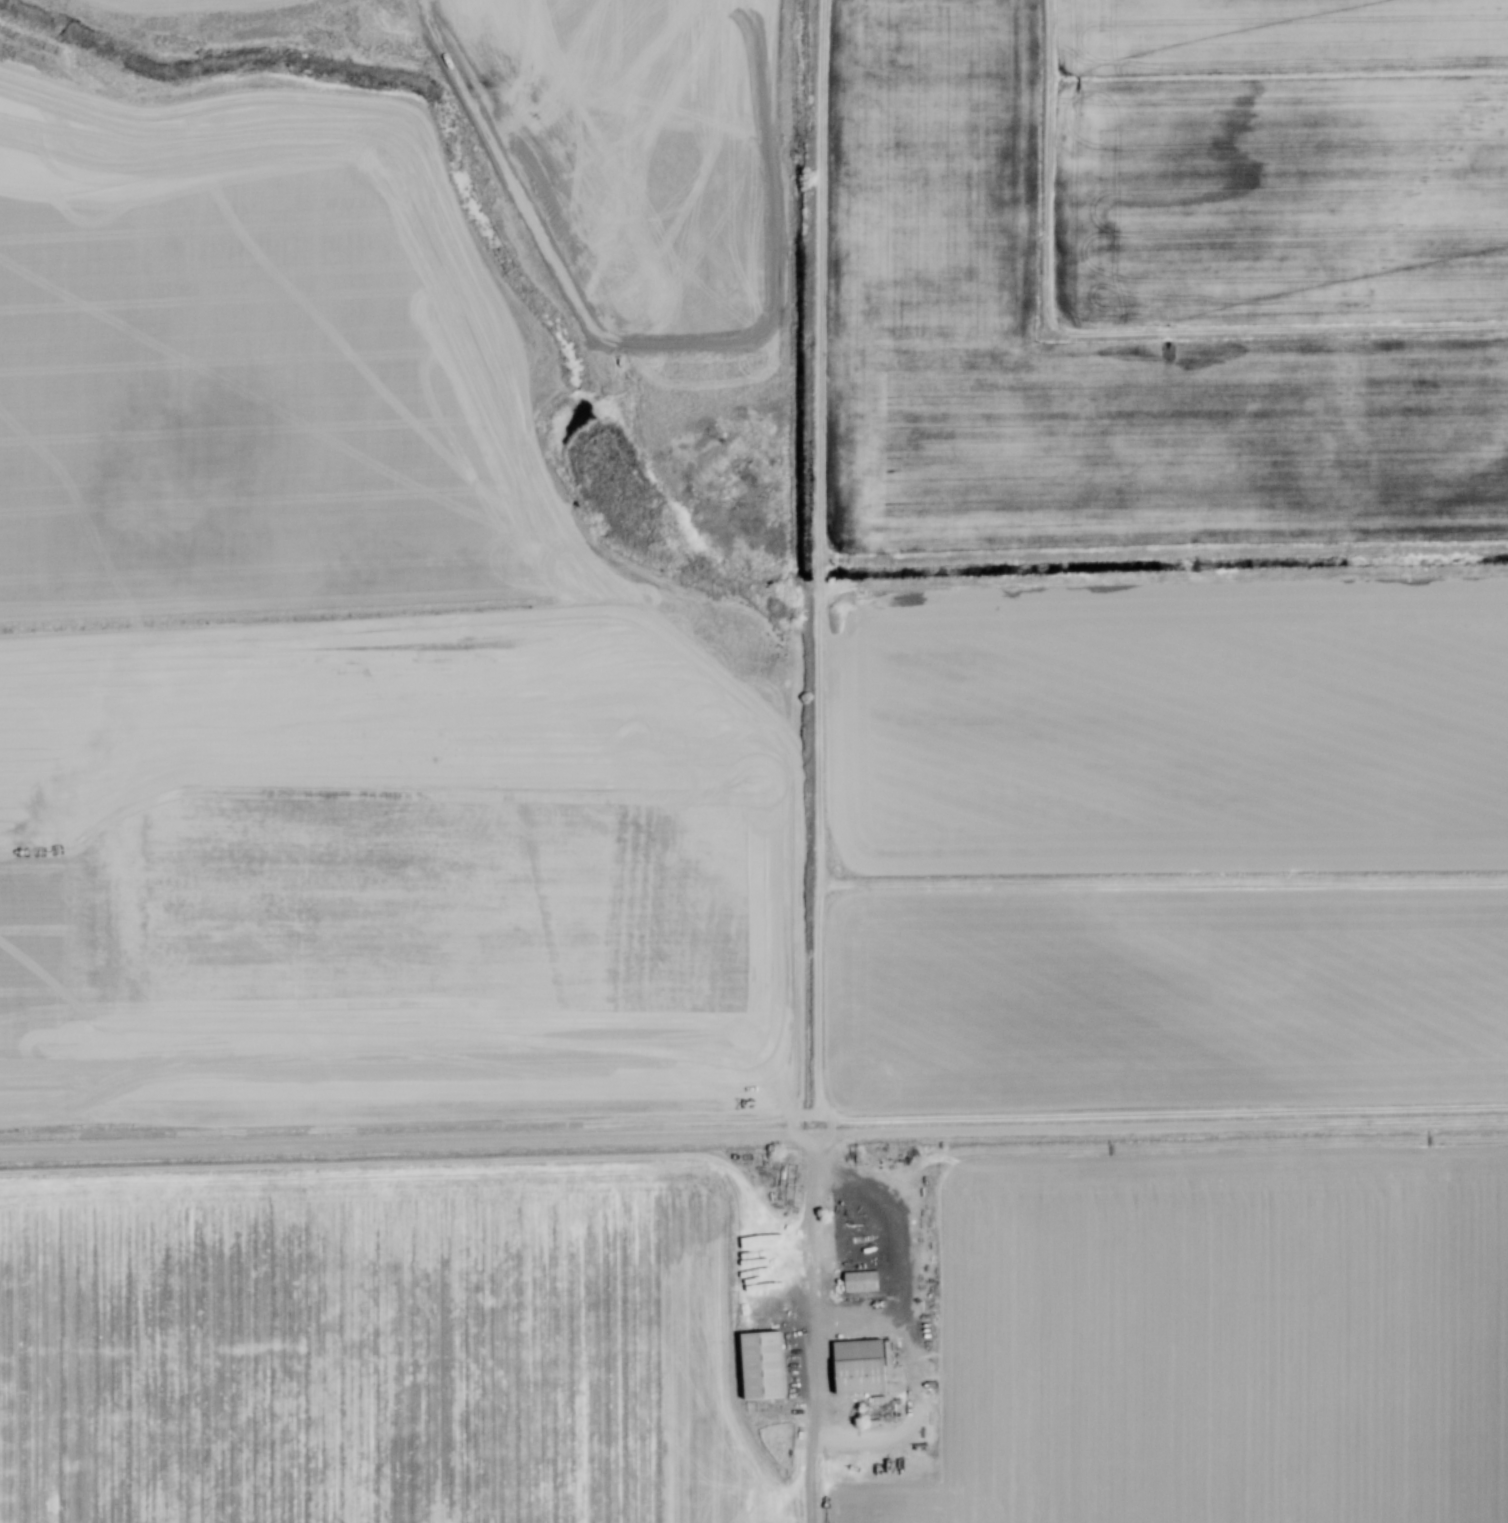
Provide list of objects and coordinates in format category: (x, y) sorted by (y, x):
road: (597, 1135)
building: (861, 1281)
building: (763, 1365)
building: (860, 1366)

